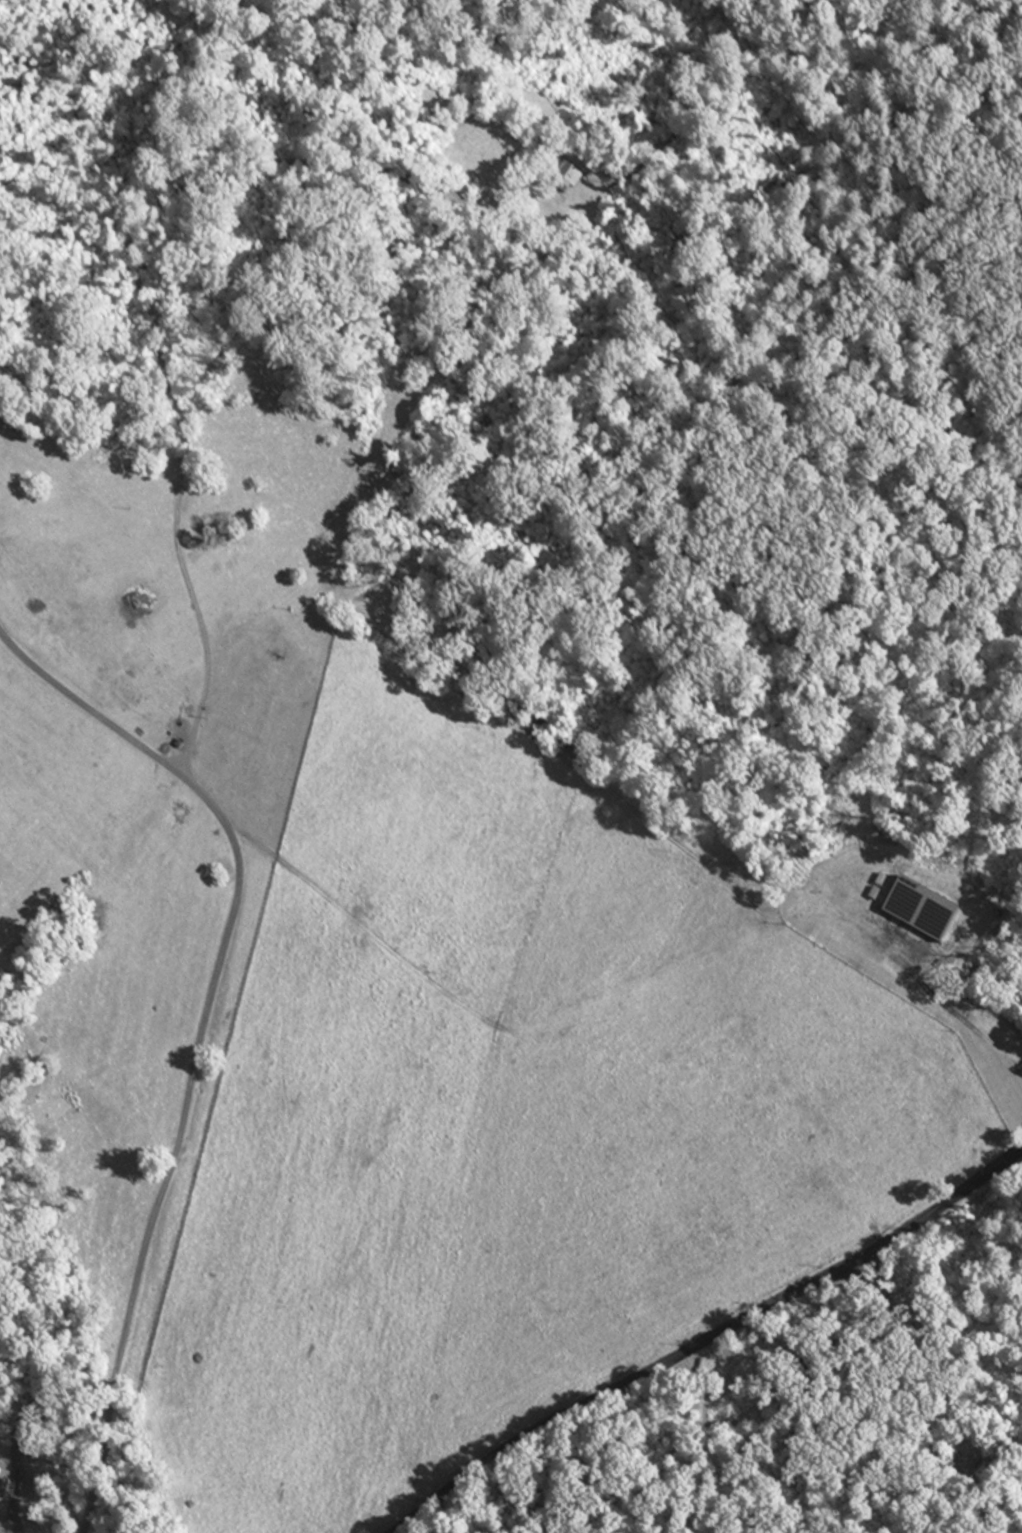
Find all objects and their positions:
road: (196, 618)
road: (323, 672)
road: (165, 1180)
road: (707, 1339)
road: (920, 1393)

